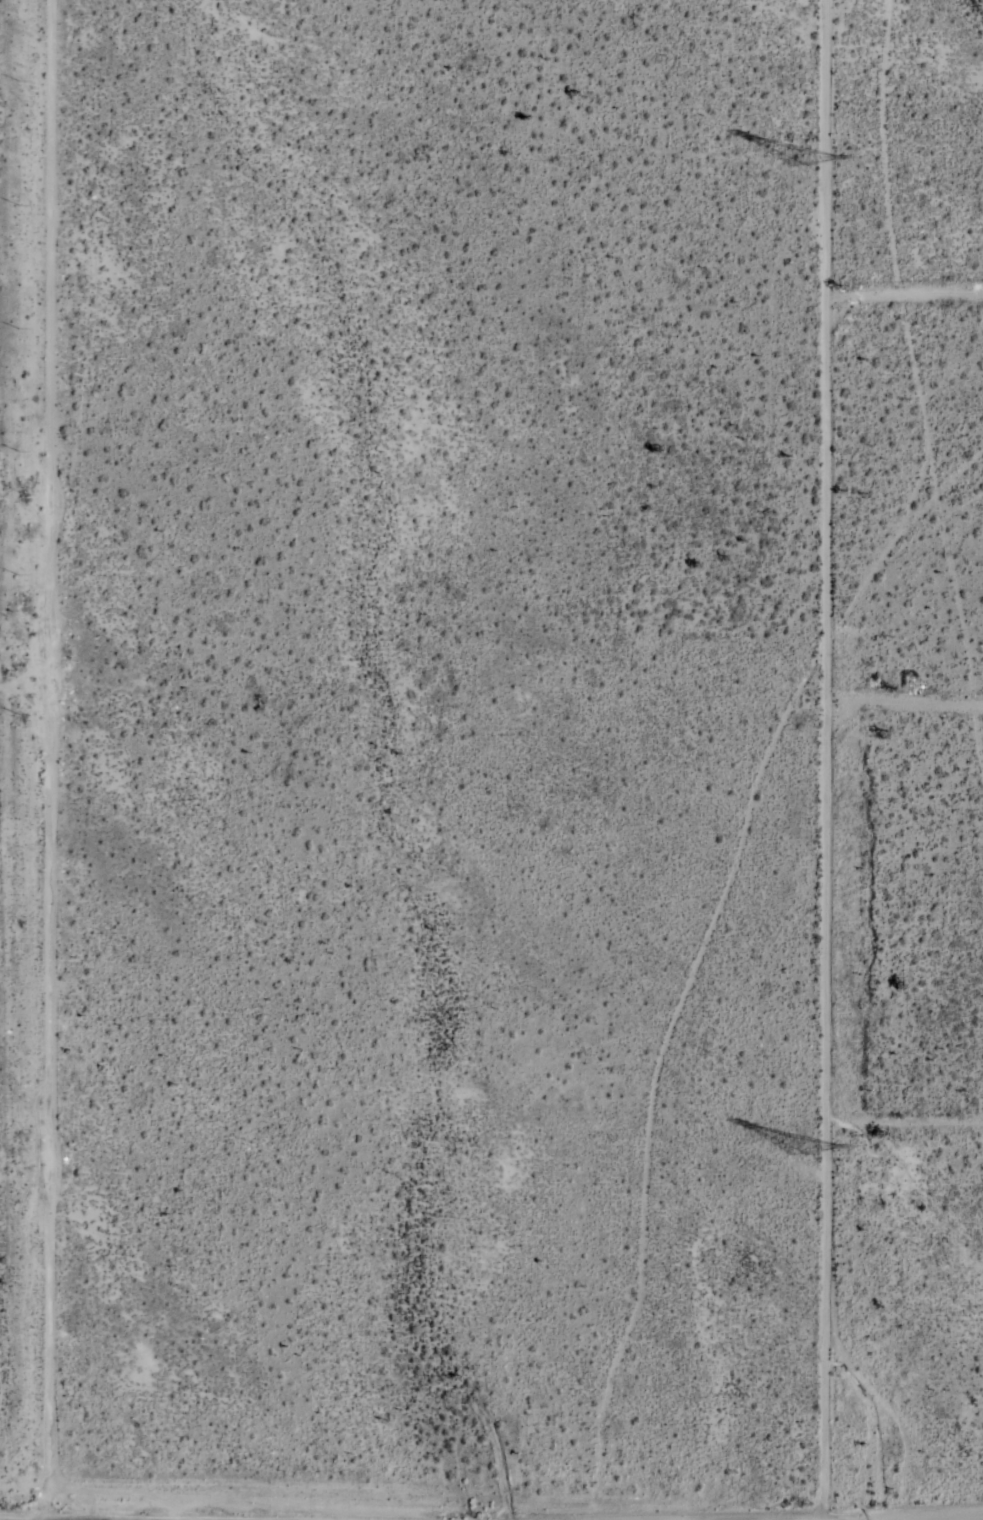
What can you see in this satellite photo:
power tower: (801, 154)
road: (894, 355)
road: (801, 760)
road: (892, 764)
power tower: (811, 1151)
road: (892, 1175)

